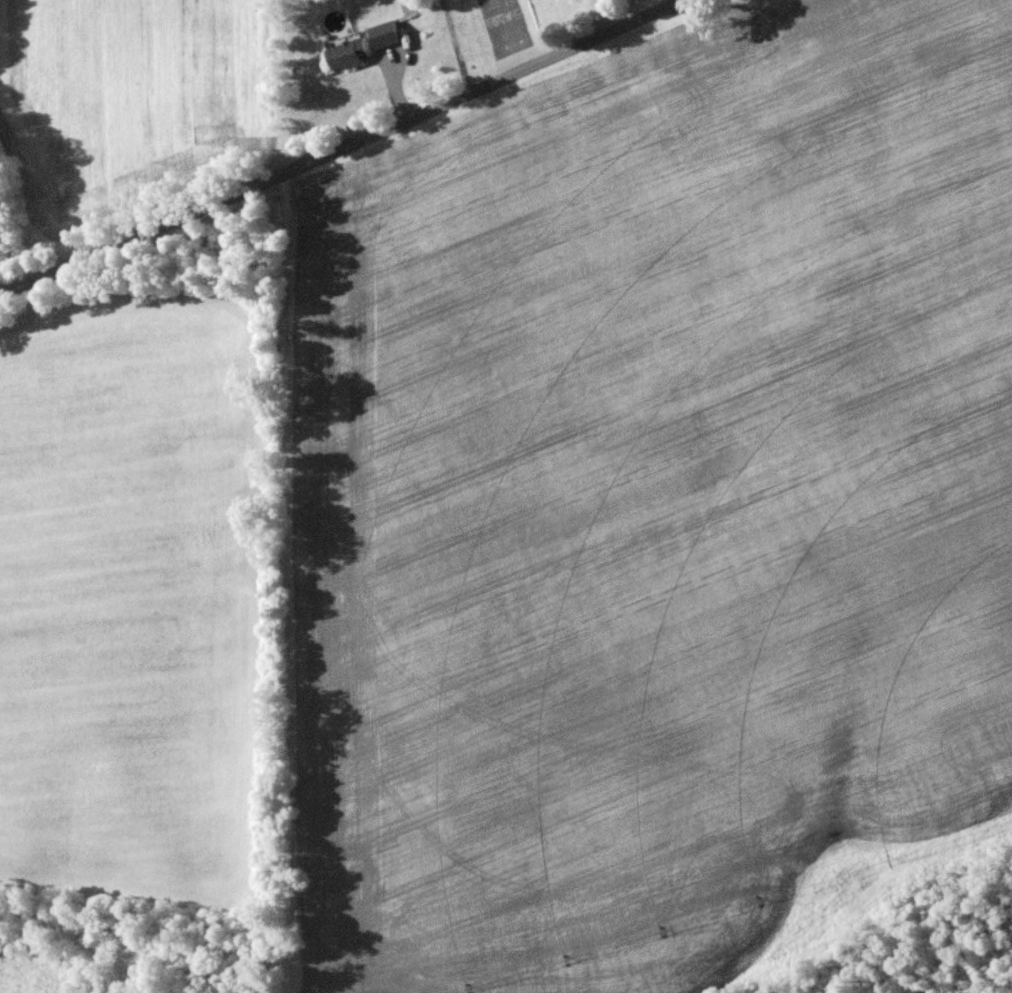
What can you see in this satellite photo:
road: (688, 0)
building: (348, 55)
road: (345, 146)

